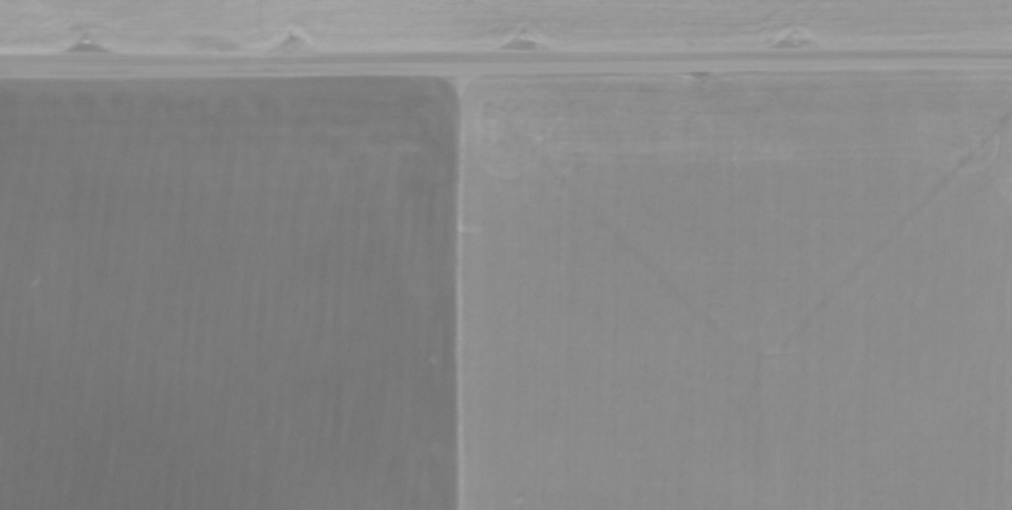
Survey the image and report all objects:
crop: (498, 22)
road: (505, 59)
crop: (506, 292)

